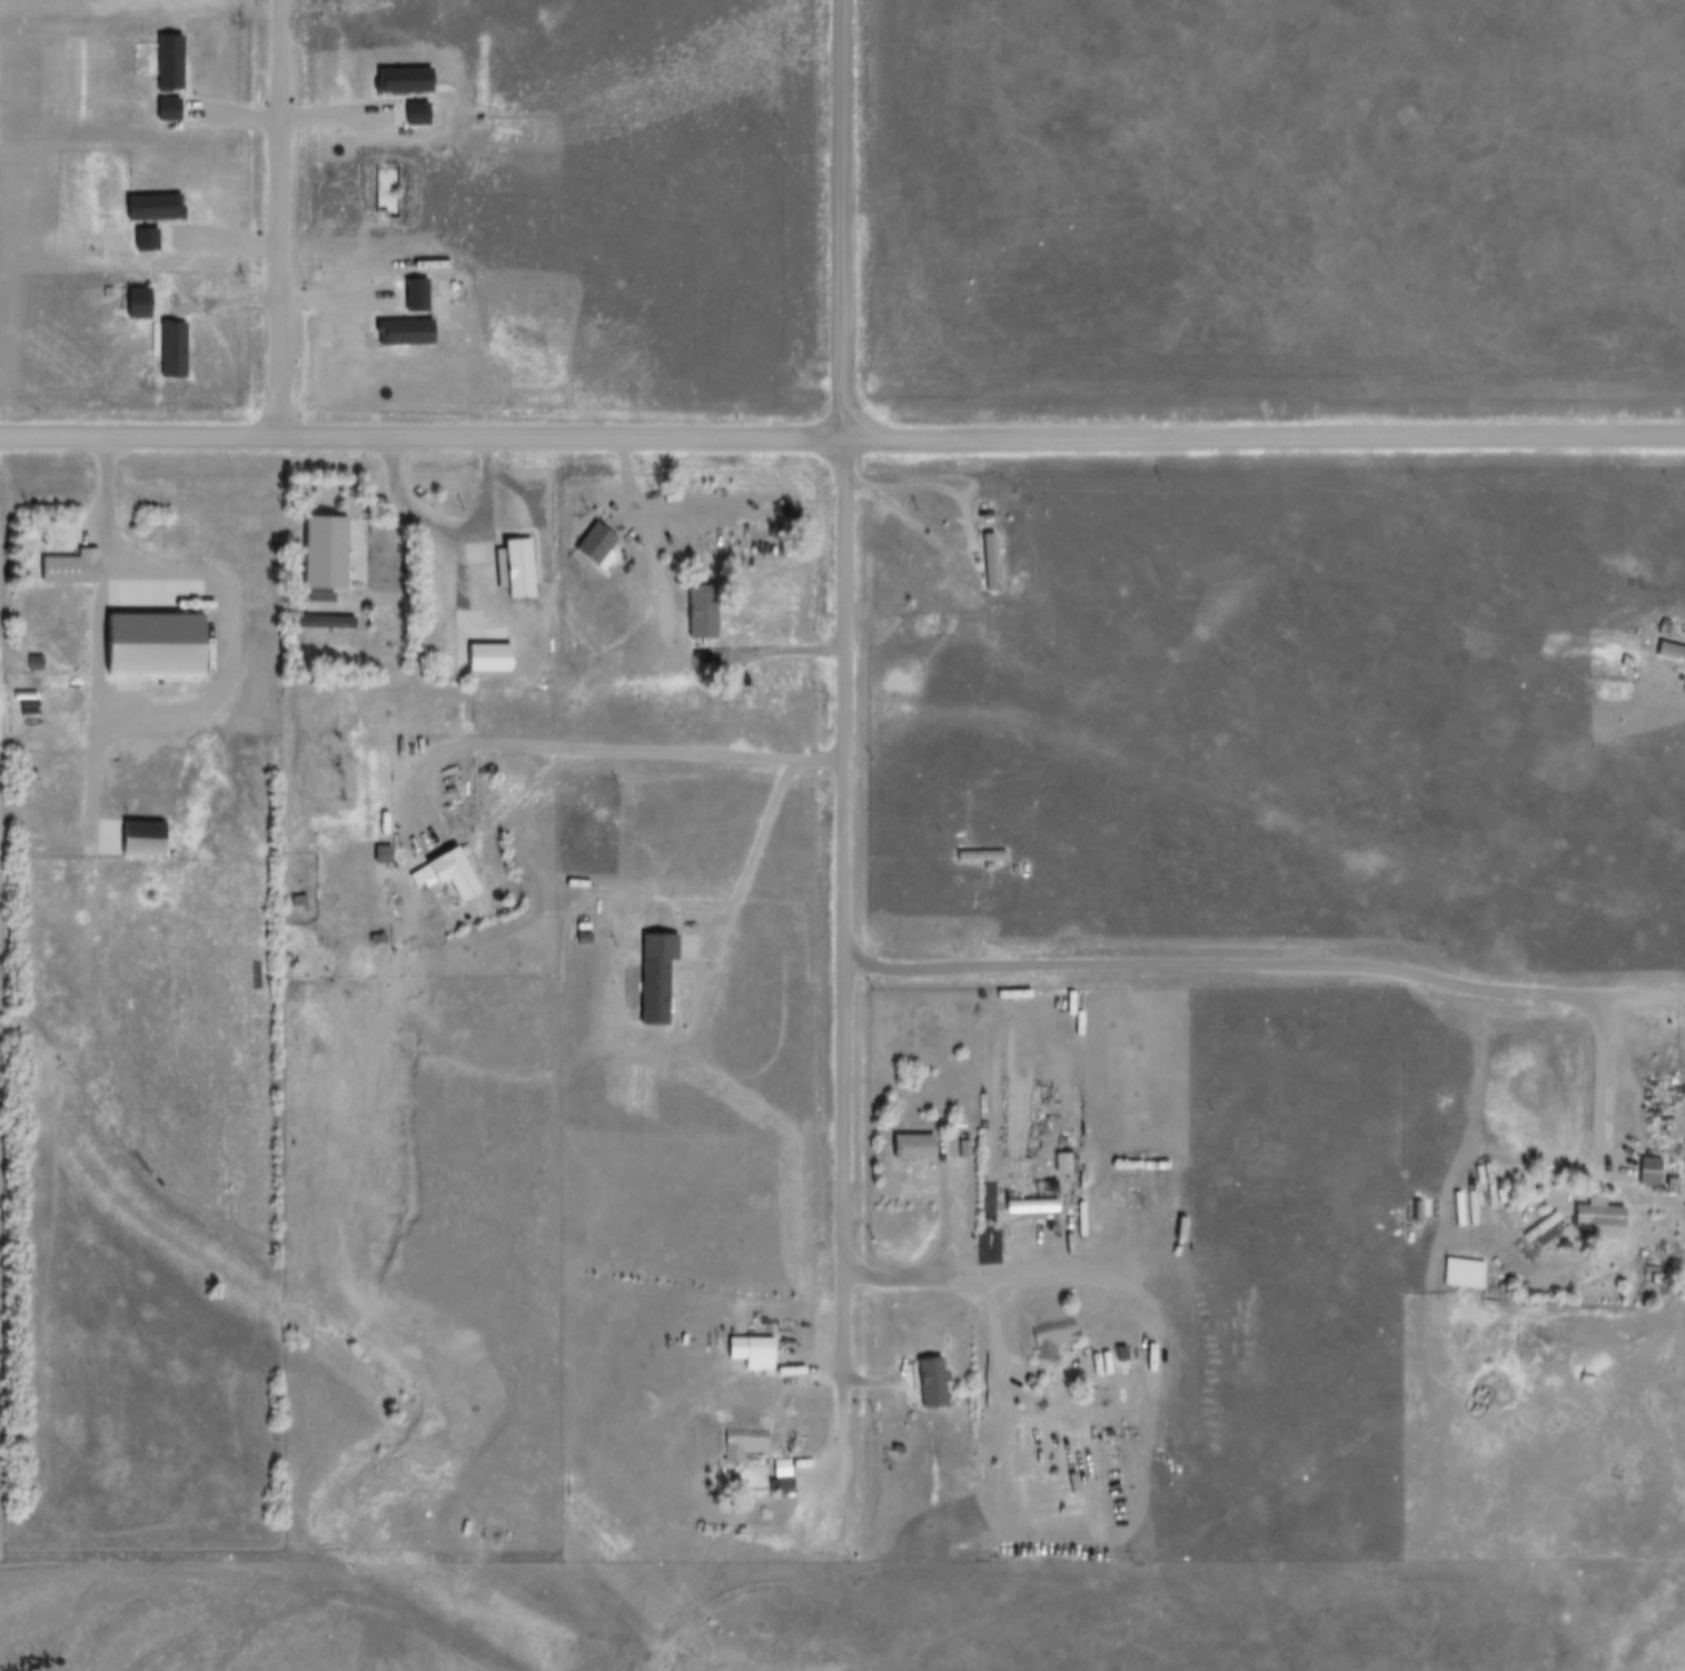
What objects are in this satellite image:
road: (268, 218)
road: (842, 436)
road: (105, 507)
road: (395, 518)
road: (899, 520)
building: (593, 545)
building: (67, 566)
building: (514, 566)
building: (314, 600)
building: (698, 610)
road: (745, 640)
building: (1669, 650)
road: (596, 749)
road: (844, 751)
building: (444, 873)
road: (1265, 965)
road: (1597, 1079)
building: (908, 1146)
building: (1647, 1169)
building: (1596, 1213)
building: (1540, 1228)
road: (932, 1256)
road: (972, 1298)
building: (1048, 1336)
building: (757, 1347)
building: (928, 1385)
building: (741, 1444)

